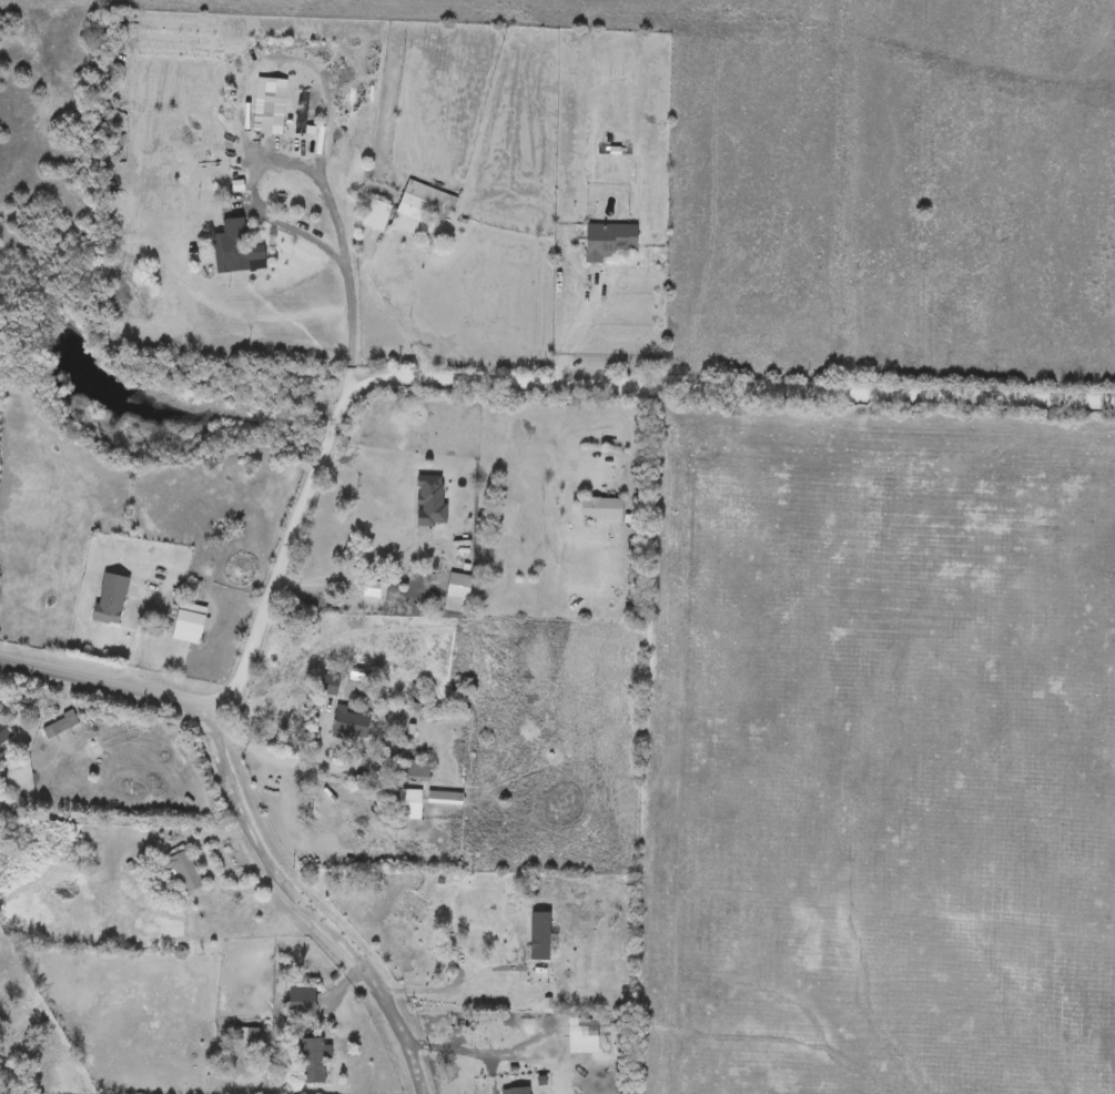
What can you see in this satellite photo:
road: (280, 54)
road: (316, 172)
building: (420, 209)
building: (376, 214)
building: (610, 240)
building: (235, 244)
road: (388, 308)
road: (578, 330)
road: (454, 376)
building: (427, 496)
building: (602, 509)
building: (383, 546)
road: (355, 573)
building: (459, 586)
building: (374, 589)
building: (111, 598)
building: (191, 622)
building: (328, 683)
building: (351, 723)
building: (60, 726)
building: (4, 731)
road: (276, 759)
building: (418, 770)
building: (446, 798)
building: (410, 804)
building: (187, 872)
road: (307, 893)
building: (414, 903)
road: (448, 984)
building: (306, 1002)
building: (246, 1039)
building: (576, 1050)
building: (315, 1060)

